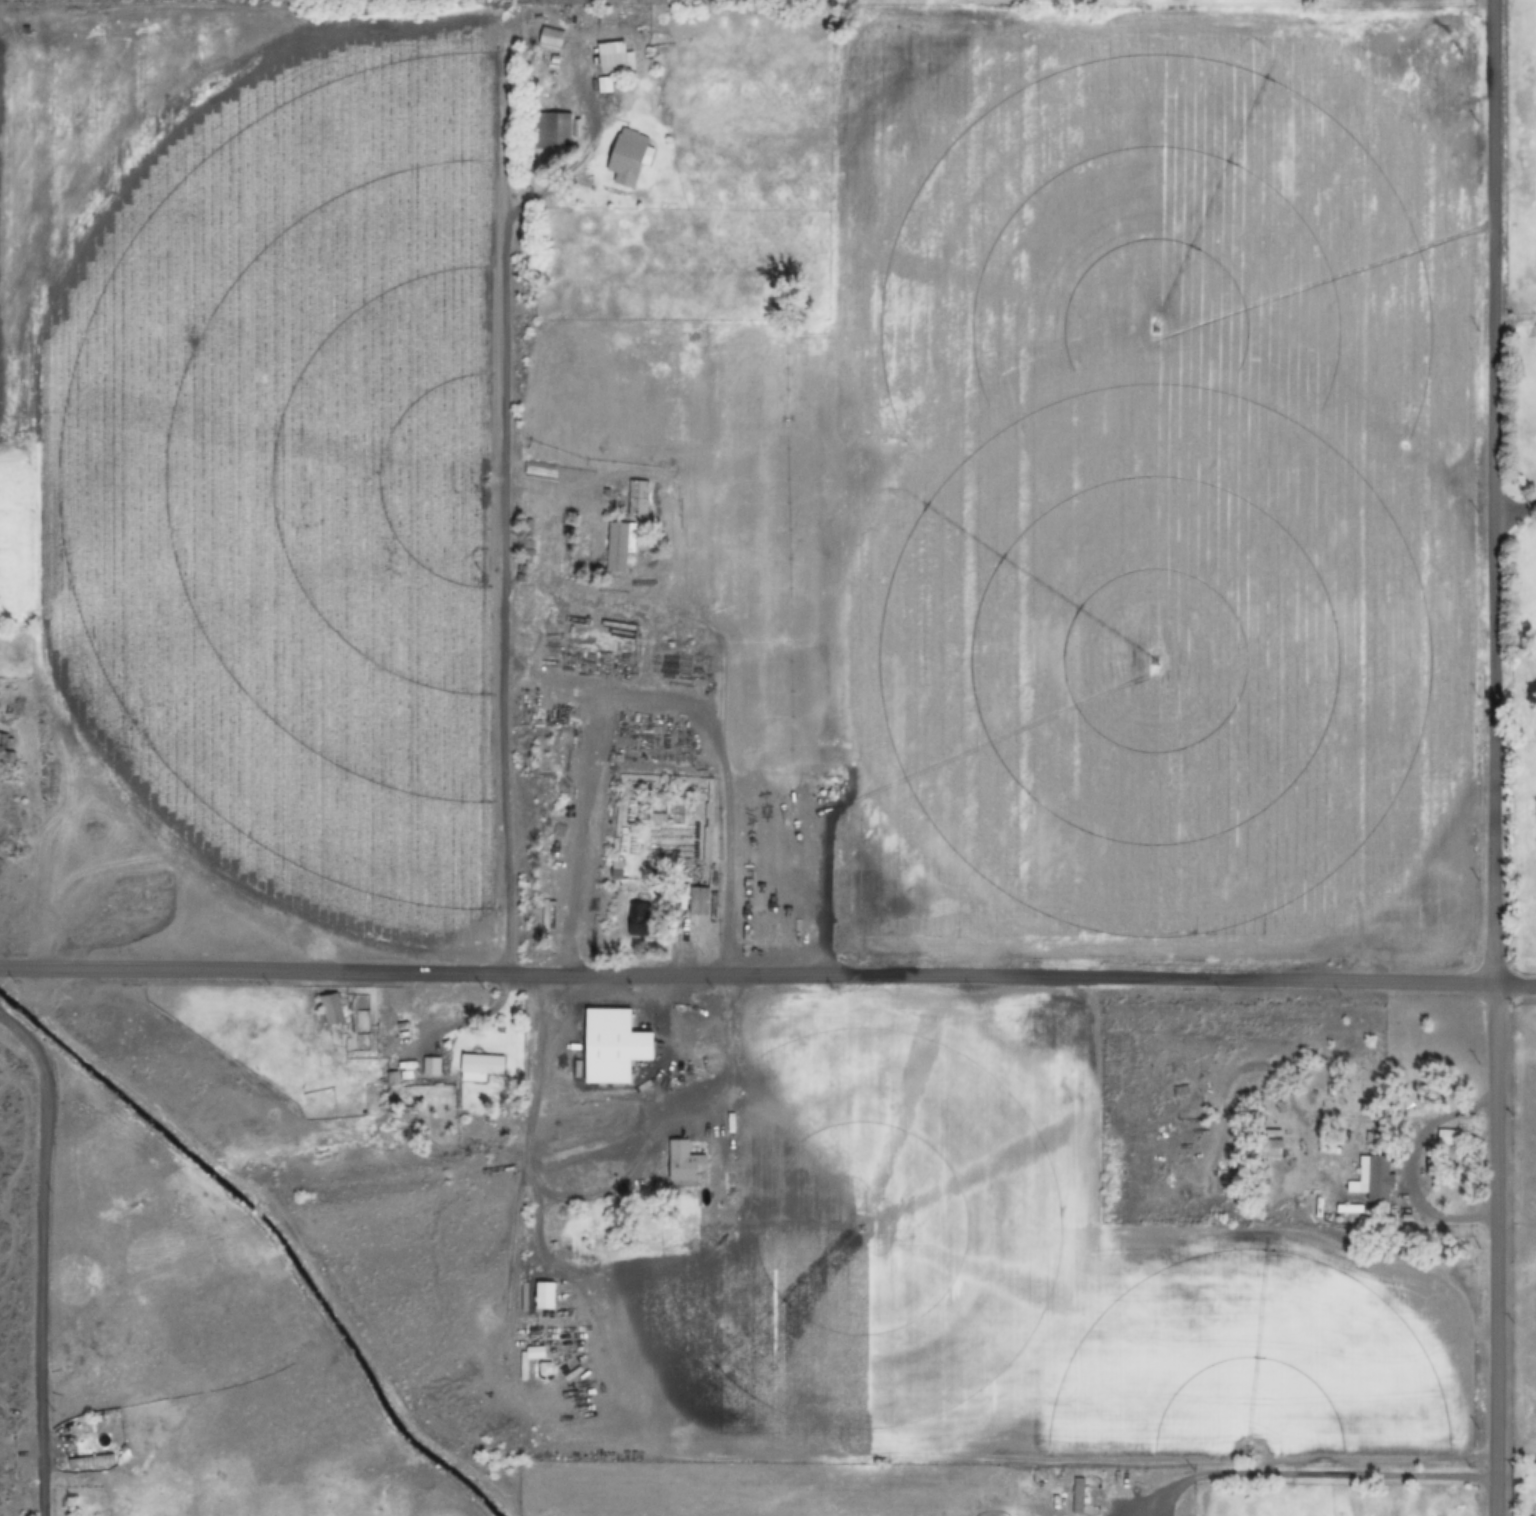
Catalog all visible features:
building: (549, 38)
building: (614, 63)
building: (550, 131)
building: (627, 155)
building: (636, 498)
building: (1532, 504)
road: (501, 521)
building: (618, 544)
building: (0, 751)
road: (1492, 757)
crop: (763, 770)
building: (697, 899)
building: (637, 918)
road: (747, 973)
road: (1515, 986)
building: (329, 1008)
building: (479, 1067)
road: (21, 1124)
building: (1269, 1147)
building: (683, 1162)
building: (1375, 1178)
road: (1456, 1210)
road: (43, 1260)
building: (543, 1295)
building: (89, 1462)
road: (1319, 1472)

